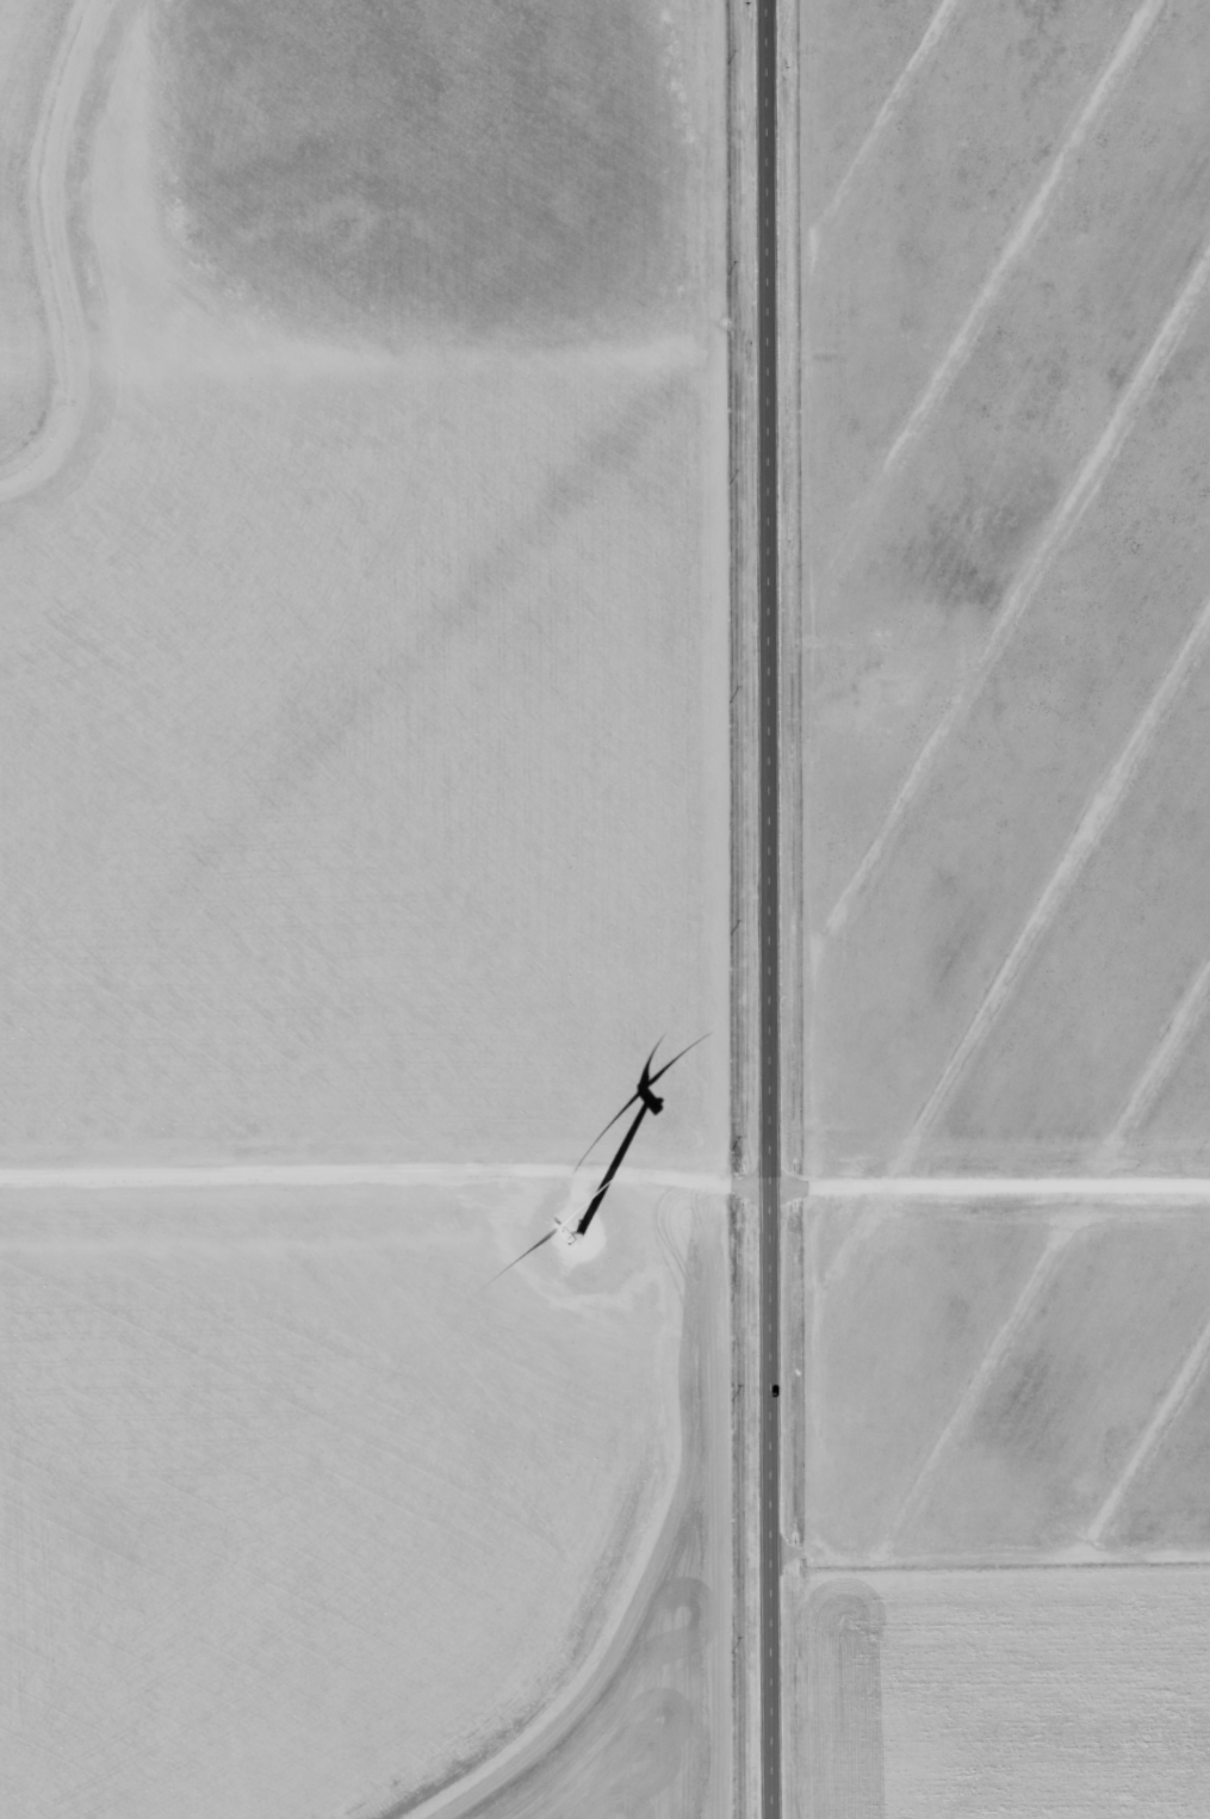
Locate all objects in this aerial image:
road: (765, 909)
wind turbine: (578, 1240)

